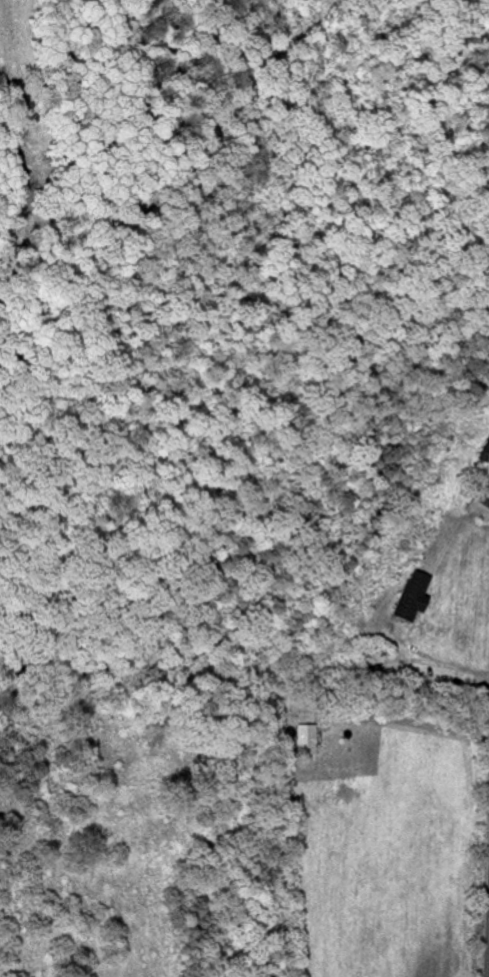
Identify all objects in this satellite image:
building: (412, 597)
road: (441, 660)
road: (418, 723)
building: (308, 740)
road: (487, 942)

